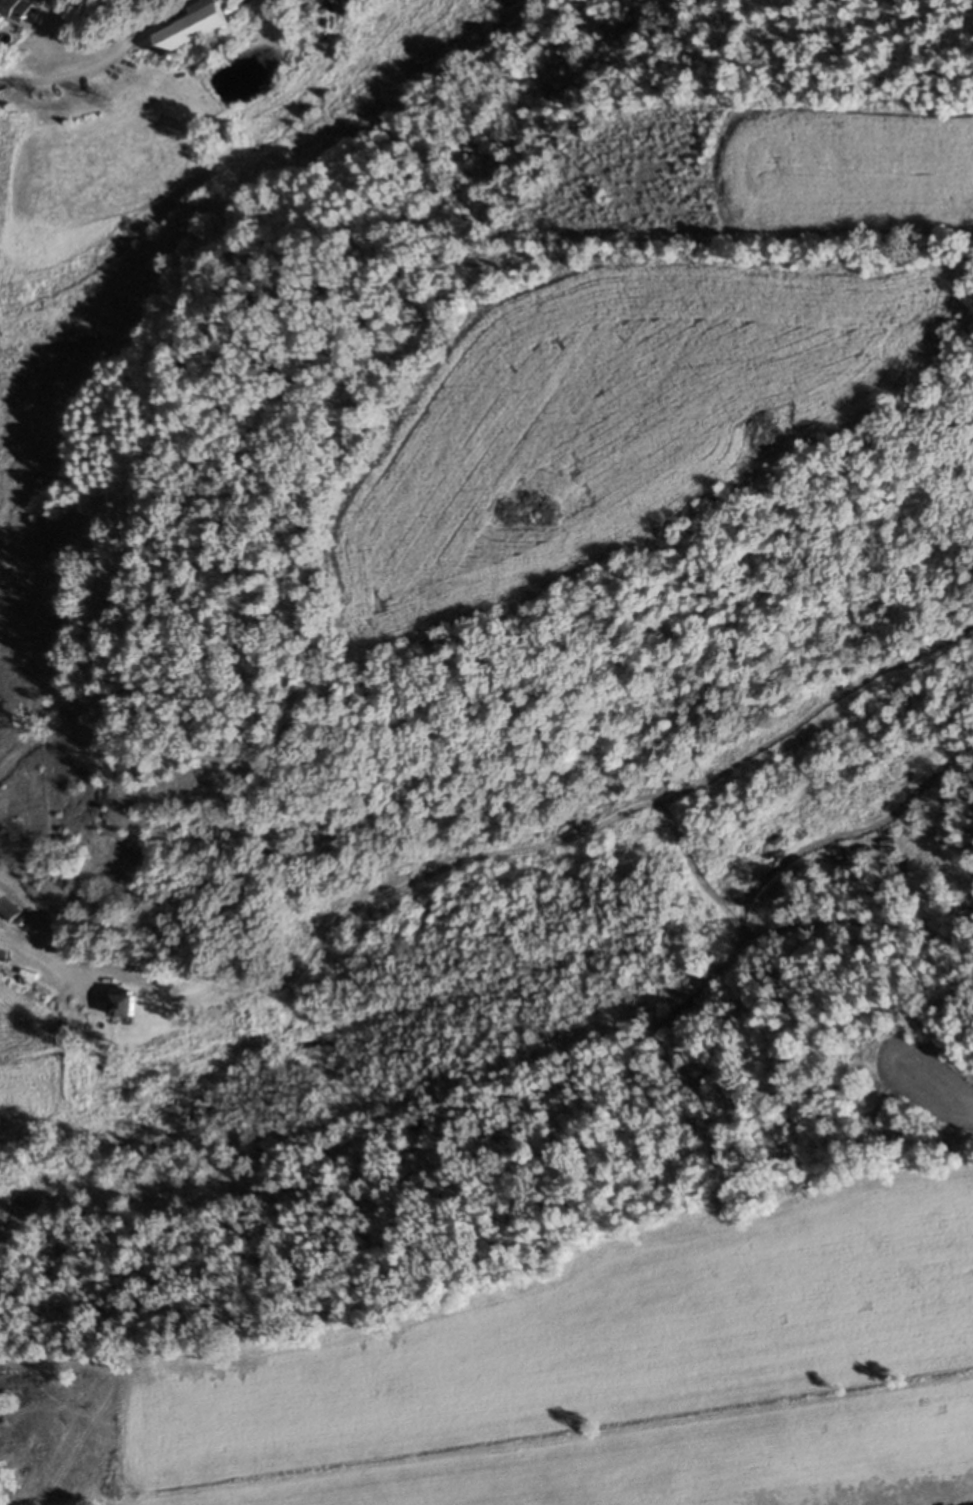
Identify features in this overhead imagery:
building: (49, 3)
building: (10, 9)
building: (186, 27)
road: (4, 31)
road: (57, 76)
building: (6, 909)
road: (39, 950)
building: (15, 965)
building: (120, 1007)
road: (3, 1365)

